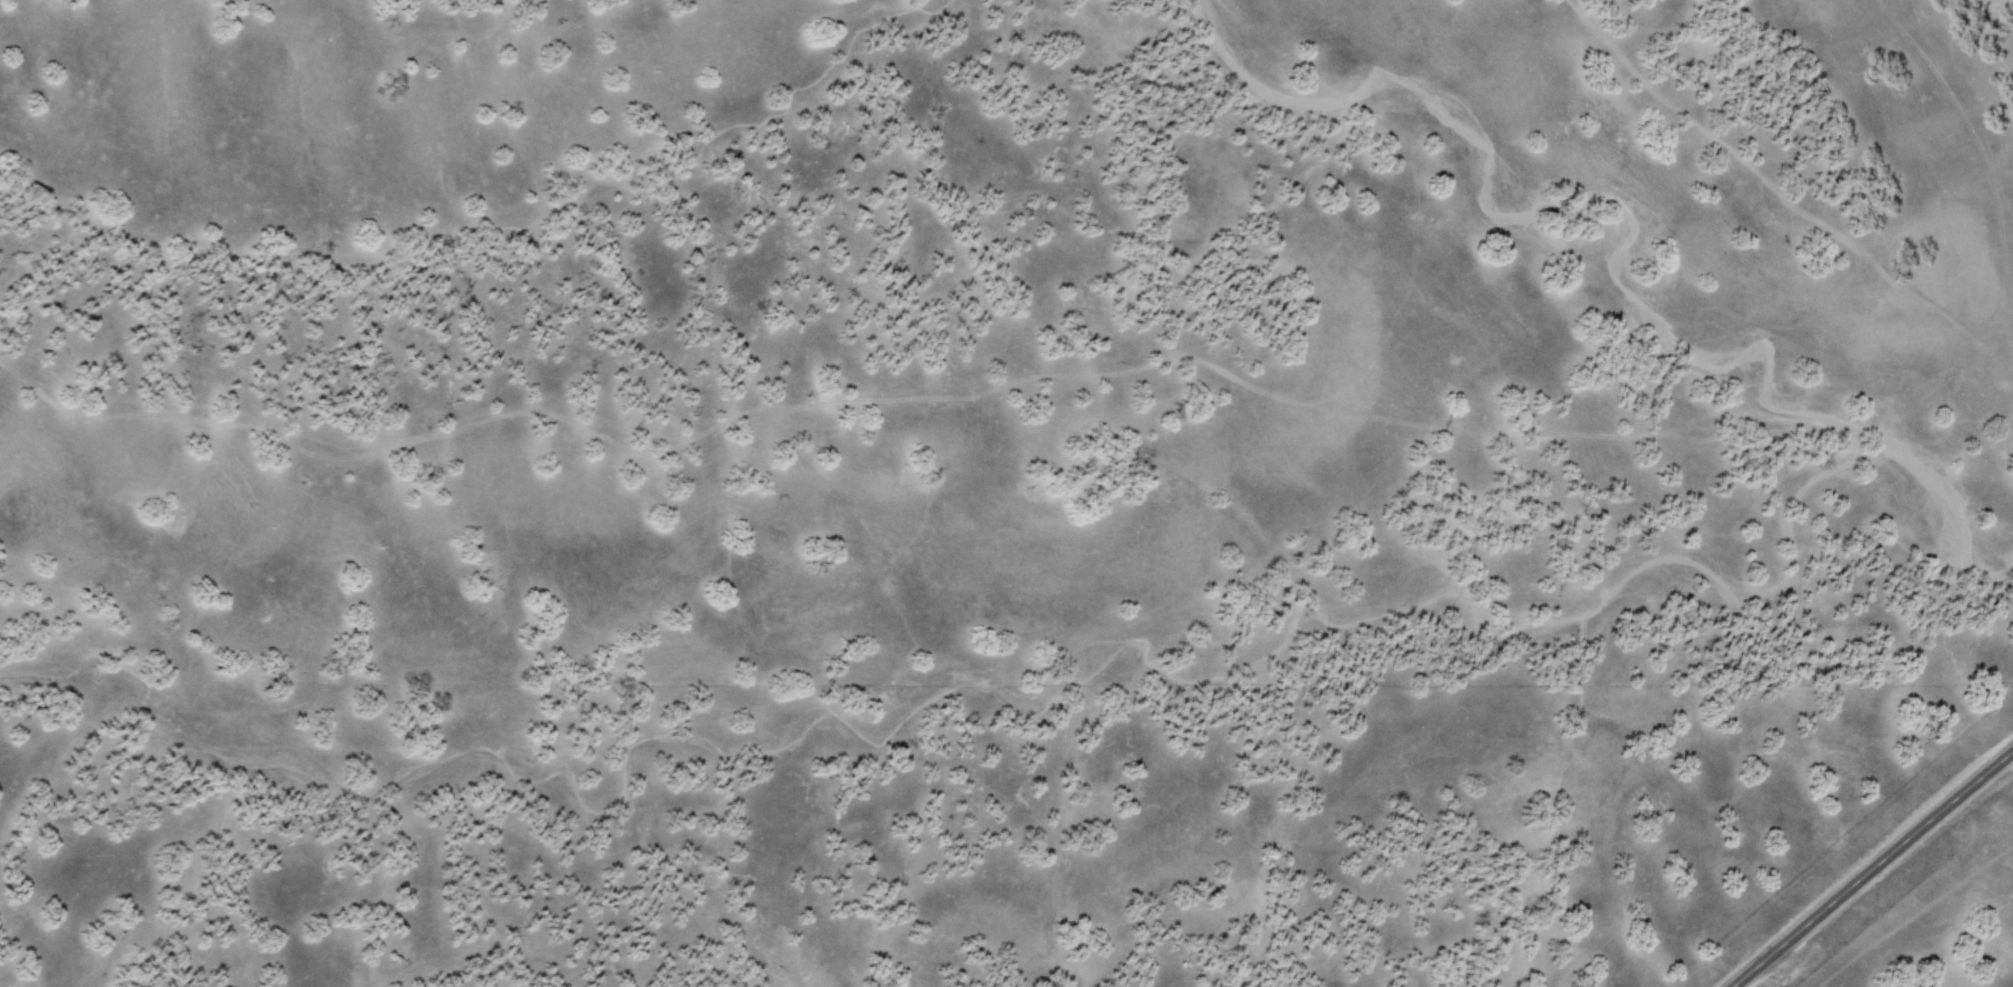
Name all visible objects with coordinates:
road: (1873, 869)

